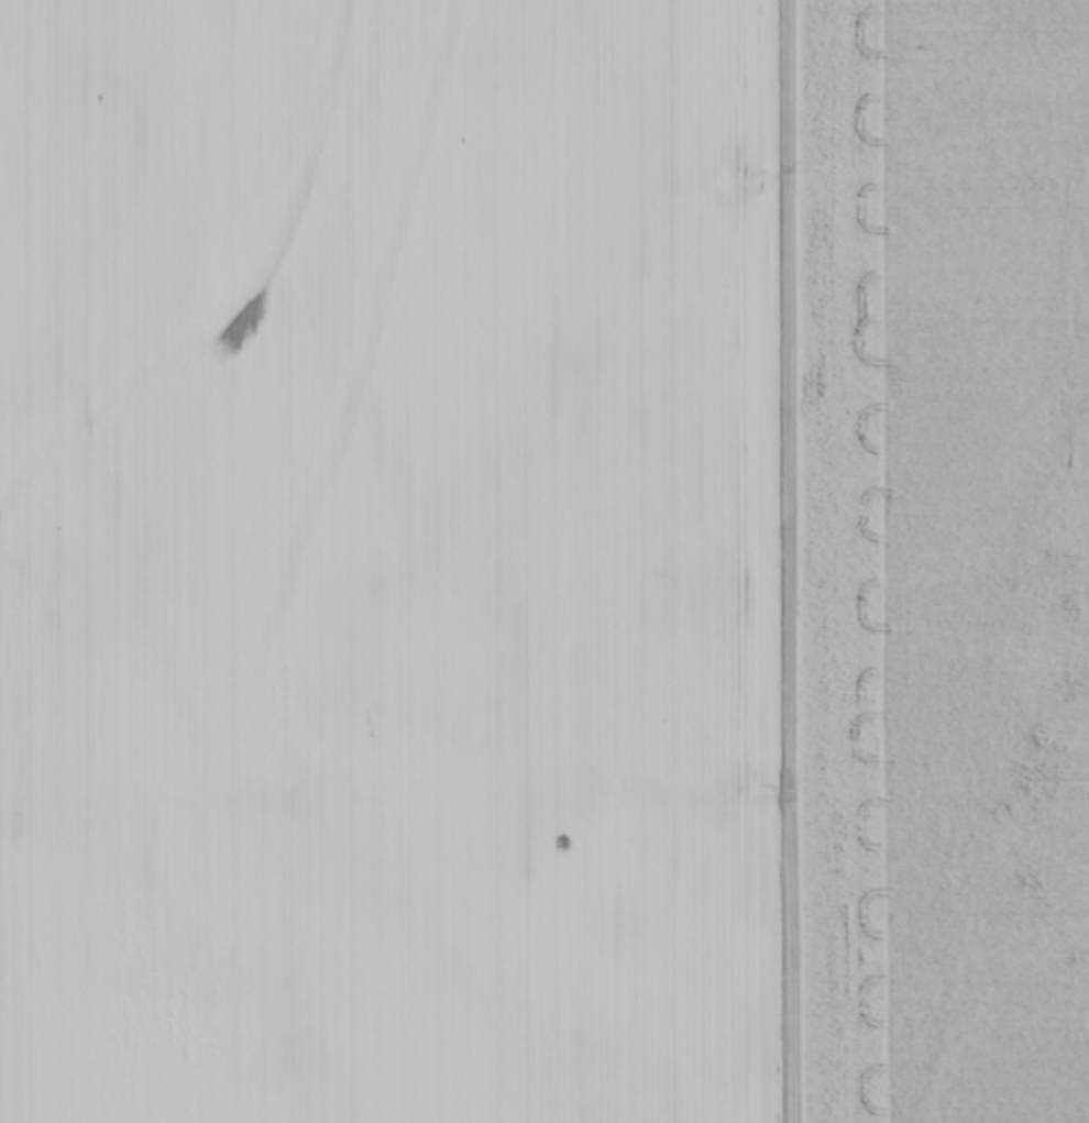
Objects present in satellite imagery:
road: (784, 561)

